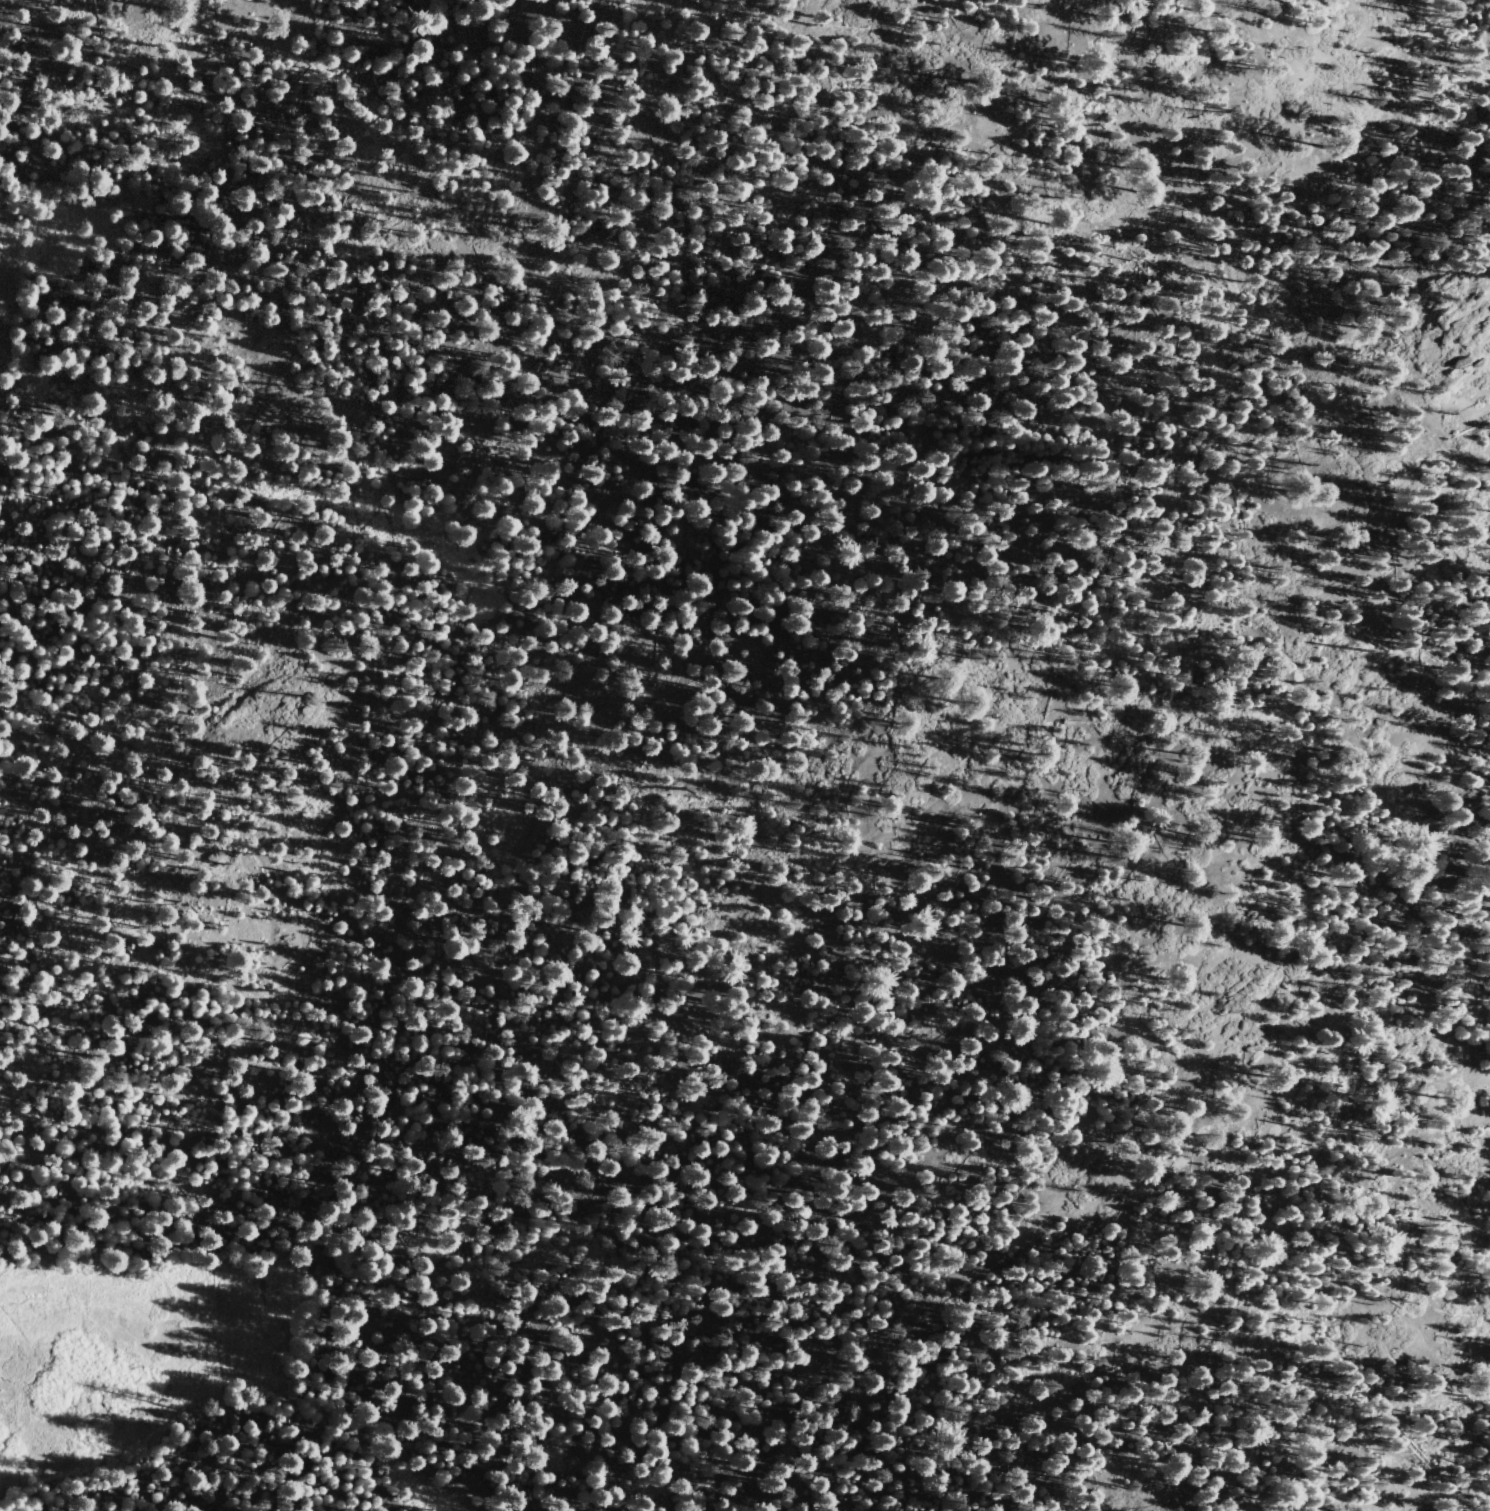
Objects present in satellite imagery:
road: (1311, 180)
road: (1271, 993)

